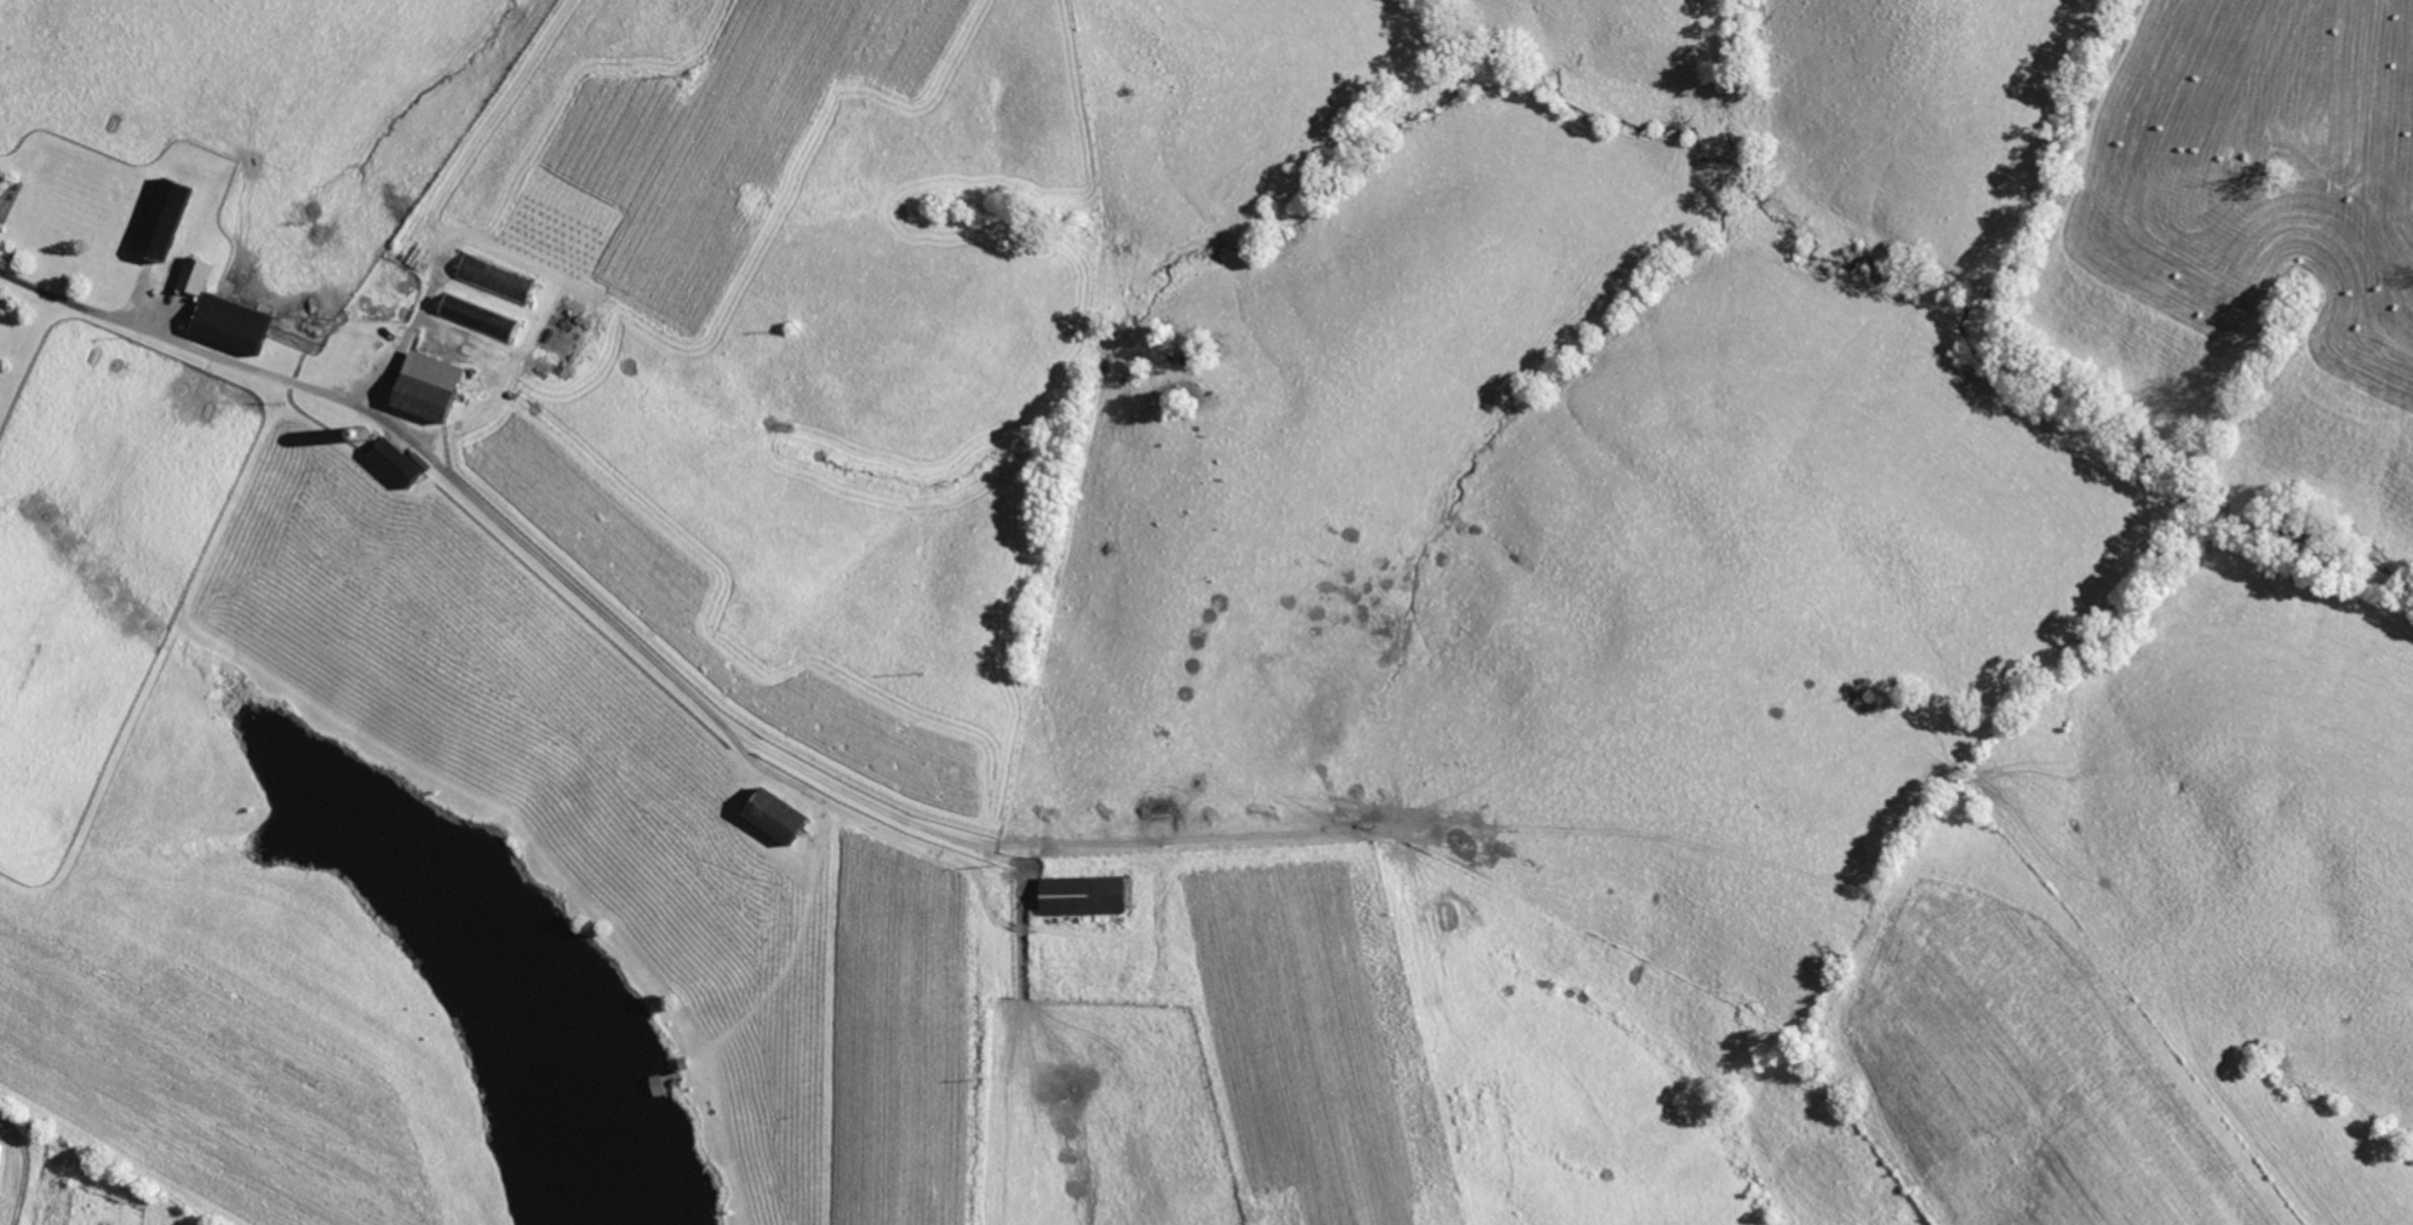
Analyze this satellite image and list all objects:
building: (156, 218)
building: (4, 252)
building: (193, 276)
building: (477, 315)
building: (224, 322)
road: (266, 370)
building: (434, 385)
building: (390, 462)
building: (780, 814)
building: (1077, 895)
building: (1, 1151)

